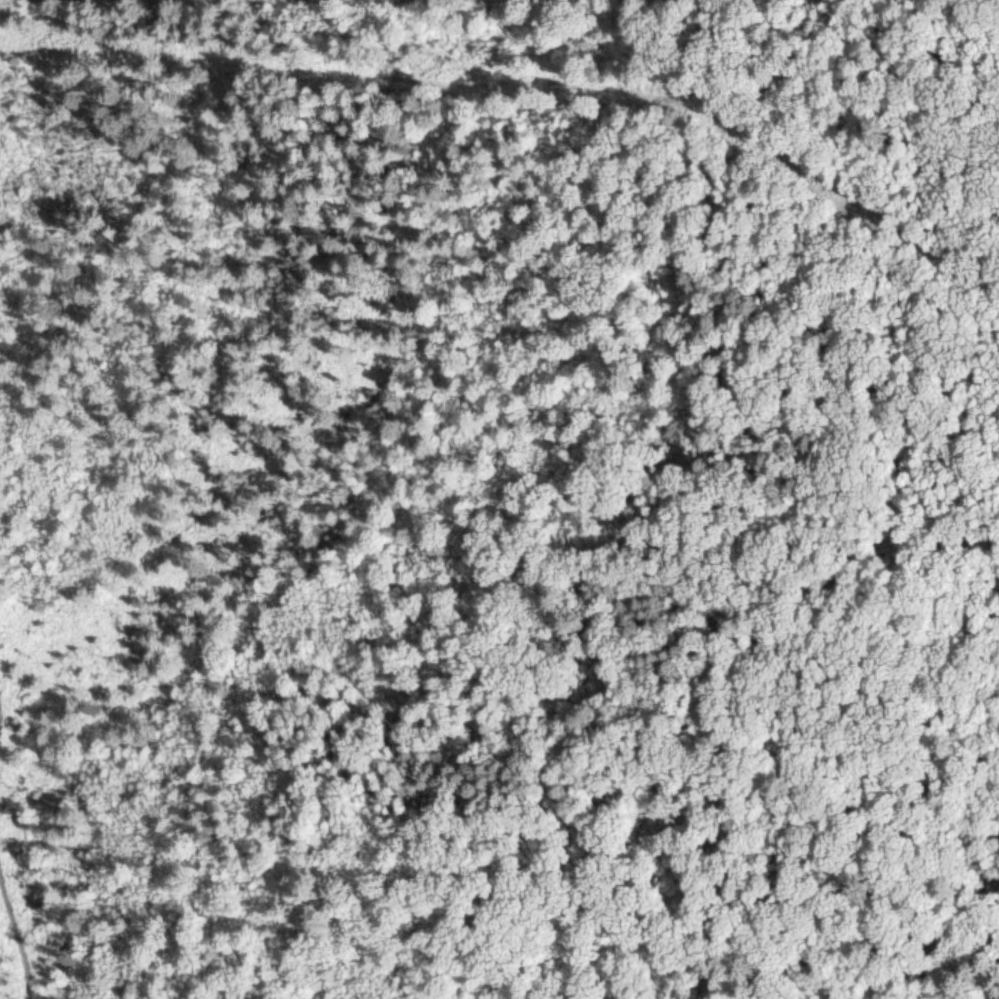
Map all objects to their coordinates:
road: (7, 848)

